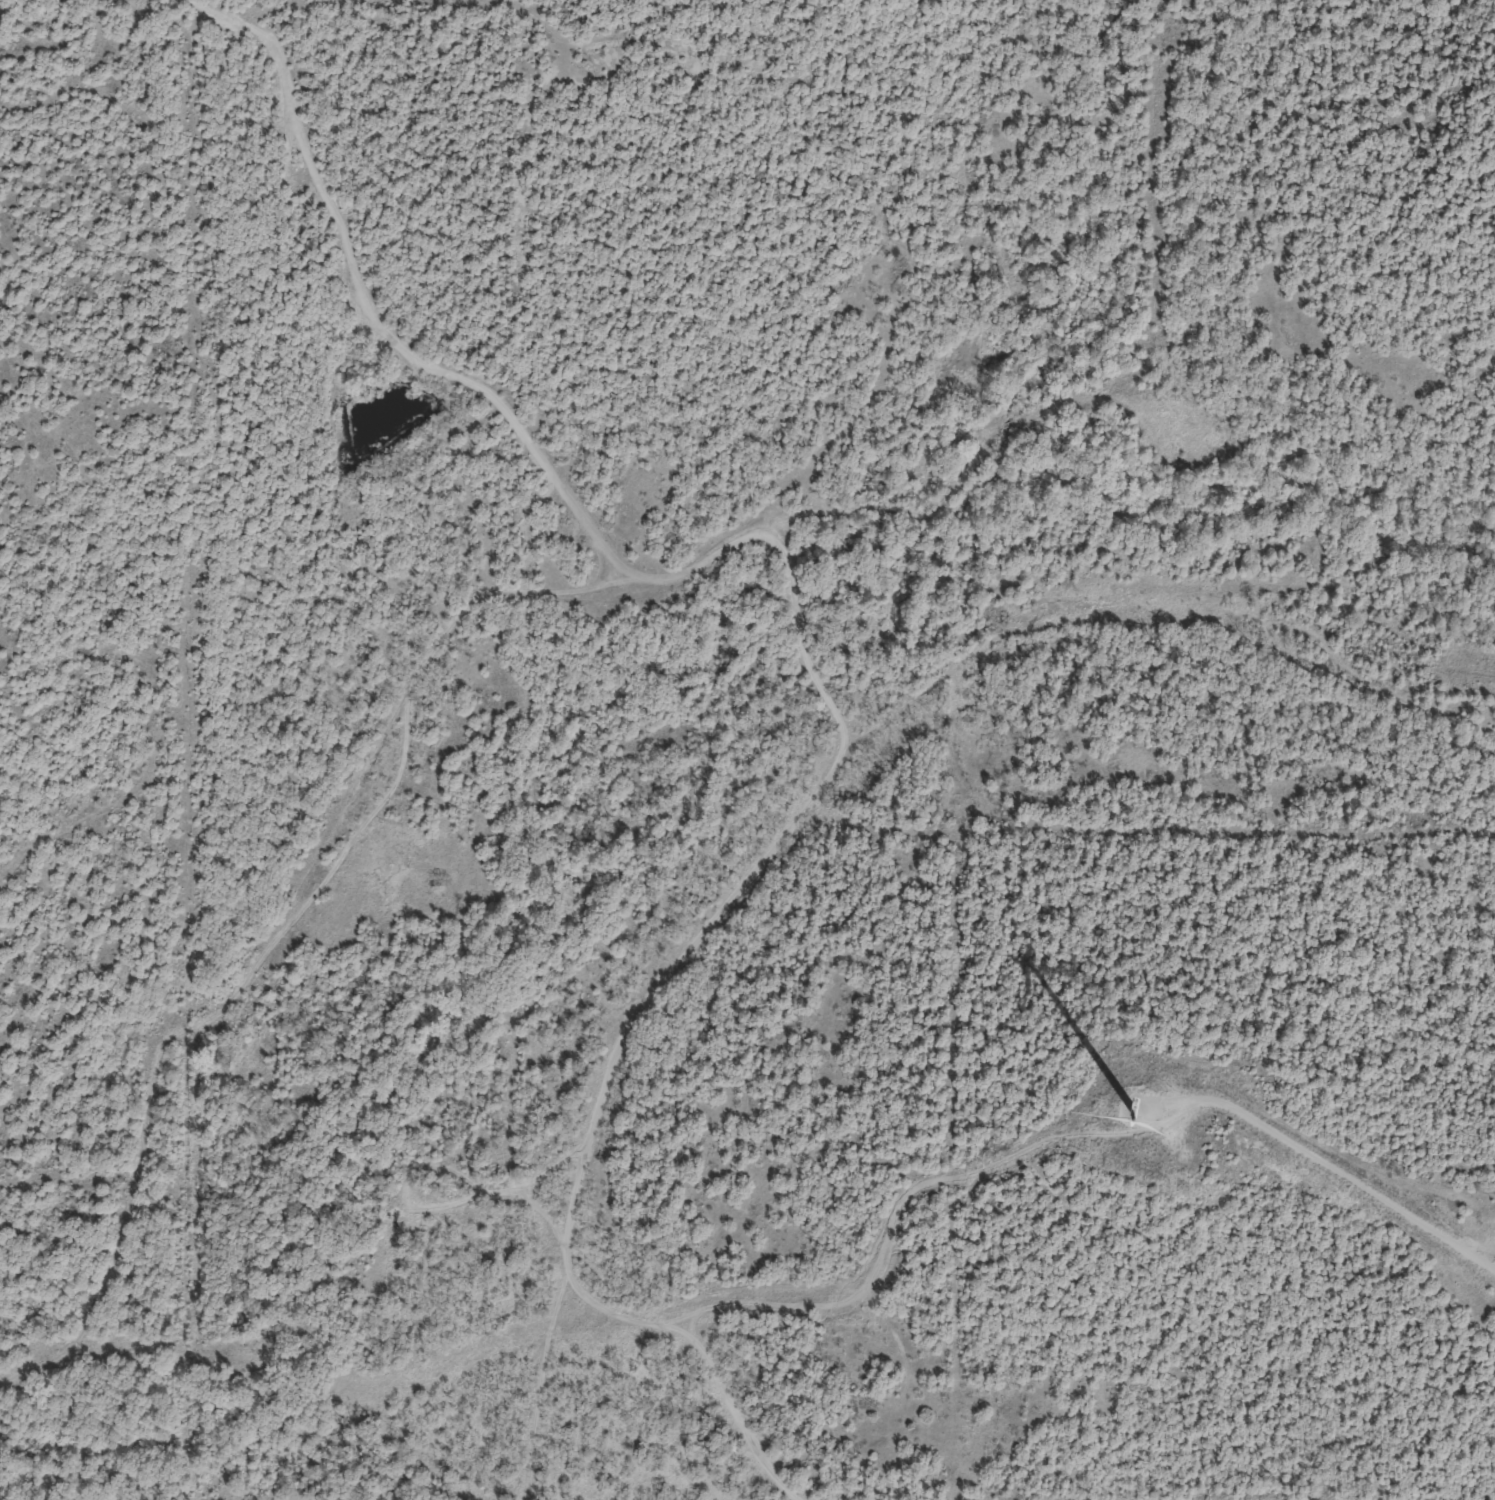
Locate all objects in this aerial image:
wind turbine: (1133, 1115)

